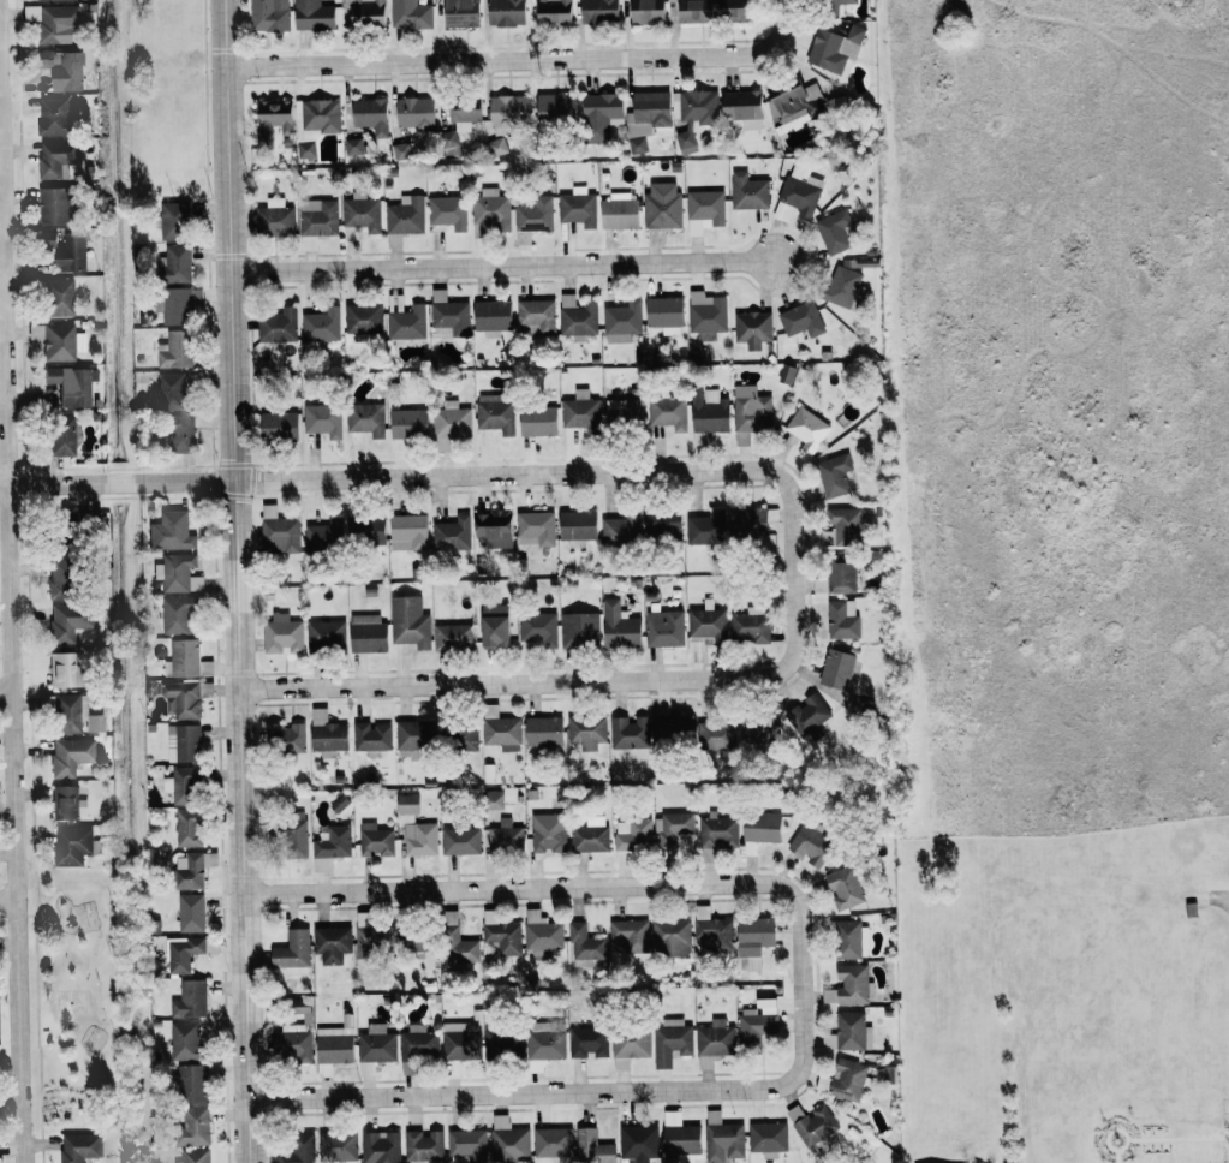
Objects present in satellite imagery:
building: (43, 0)
building: (833, 6)
building: (735, 10)
building: (598, 11)
building: (694, 11)
building: (365, 12)
building: (506, 12)
building: (554, 12)
building: (648, 12)
building: (460, 13)
building: (268, 14)
building: (410, 14)
building: (312, 16)
building: (50, 22)
building: (855, 34)
building: (848, 48)
building: (825, 52)
road: (523, 59)
building: (62, 68)
building: (835, 103)
building: (742, 106)
building: (556, 107)
building: (794, 109)
building: (508, 111)
building: (414, 112)
building: (464, 114)
building: (320, 115)
building: (370, 115)
building: (601, 115)
building: (55, 118)
building: (645, 118)
building: (272, 120)
building: (449, 144)
building: (353, 145)
building: (495, 147)
building: (305, 150)
building: (56, 157)
building: (747, 191)
building: (661, 205)
building: (53, 207)
building: (577, 207)
building: (490, 208)
building: (704, 210)
building: (447, 211)
building: (619, 211)
building: (533, 215)
building: (359, 216)
building: (317, 217)
building: (274, 219)
building: (404, 219)
building: (173, 221)
building: (835, 231)
building: (48, 239)
building: (71, 254)
road: (501, 263)
building: (174, 264)
road: (0, 276)
building: (843, 288)
building: (56, 298)
building: (178, 304)
building: (491, 315)
building: (705, 315)
building: (448, 317)
building: (536, 317)
building: (577, 317)
building: (363, 318)
building: (800, 320)
building: (621, 322)
building: (406, 323)
building: (321, 324)
building: (278, 327)
building: (752, 329)
building: (58, 341)
building: (175, 350)
building: (786, 374)
building: (71, 386)
building: (171, 390)
building: (750, 408)
building: (579, 411)
building: (624, 411)
building: (495, 412)
building: (708, 412)
building: (365, 418)
building: (322, 419)
building: (452, 421)
building: (537, 421)
building: (408, 423)
building: (278, 425)
building: (806, 429)
building: (177, 433)
building: (60, 435)
road: (487, 472)
building: (833, 473)
building: (747, 520)
building: (662, 523)
building: (577, 526)
building: (842, 526)
building: (494, 527)
building: (535, 527)
building: (704, 527)
building: (620, 529)
building: (365, 530)
building: (171, 531)
building: (278, 531)
building: (407, 532)
building: (451, 533)
building: (321, 538)
building: (177, 573)
building: (836, 575)
road: (235, 581)
building: (56, 592)
building: (177, 615)
building: (840, 616)
building: (67, 621)
building: (408, 621)
building: (495, 625)
building: (748, 625)
building: (619, 626)
building: (538, 627)
building: (663, 627)
building: (579, 628)
building: (703, 631)
building: (366, 633)
building: (281, 634)
building: (324, 636)
building: (452, 637)
building: (184, 657)
building: (61, 669)
building: (835, 670)
road: (513, 682)
road: (11, 685)
road: (6, 693)
building: (181, 698)
building: (68, 712)
building: (807, 716)
building: (673, 727)
building: (758, 728)
building: (500, 729)
building: (586, 730)
building: (326, 732)
building: (543, 732)
building: (628, 732)
building: (715, 735)
building: (285, 736)
building: (371, 736)
building: (413, 736)
building: (464, 736)
building: (183, 742)
building: (68, 756)
building: (185, 780)
building: (491, 799)
building: (64, 803)
building: (187, 827)
building: (673, 827)
building: (762, 827)
building: (414, 828)
building: (548, 831)
building: (717, 831)
building: (632, 834)
building: (590, 835)
building: (505, 836)
building: (294, 839)
building: (375, 840)
building: (460, 840)
building: (73, 845)
building: (810, 845)
building: (329, 846)
building: (209, 859)
building: (187, 871)
building: (843, 887)
road: (568, 888)
road: (8, 897)
road: (1219, 900)
building: (190, 912)
building: (712, 929)
building: (628, 931)
building: (501, 932)
building: (542, 934)
building: (369, 936)
building: (670, 937)
building: (412, 938)
building: (753, 938)
building: (847, 940)
building: (584, 942)
building: (330, 943)
building: (181, 953)
building: (292, 953)
park: (72, 990)
park: (1067, 996)
park: (73, 997)
building: (189, 1000)
building: (300, 1008)
building: (757, 1022)
building: (848, 1032)
building: (545, 1039)
building: (184, 1040)
building: (460, 1040)
building: (670, 1040)
building: (418, 1042)
building: (587, 1042)
building: (502, 1043)
building: (714, 1043)
building: (631, 1044)
building: (292, 1045)
building: (333, 1045)
building: (374, 1048)
building: (847, 1079)
building: (189, 1083)
road: (561, 1091)
road: (10, 1104)
building: (811, 1123)
building: (192, 1127)
building: (680, 1137)
building: (722, 1138)
building: (766, 1138)
building: (508, 1141)
building: (551, 1141)
building: (638, 1143)
building: (467, 1144)
building: (336, 1145)
building: (423, 1145)
building: (78, 1146)
building: (380, 1146)
building: (592, 1147)
building: (296, 1149)
building: (195, 1156)

